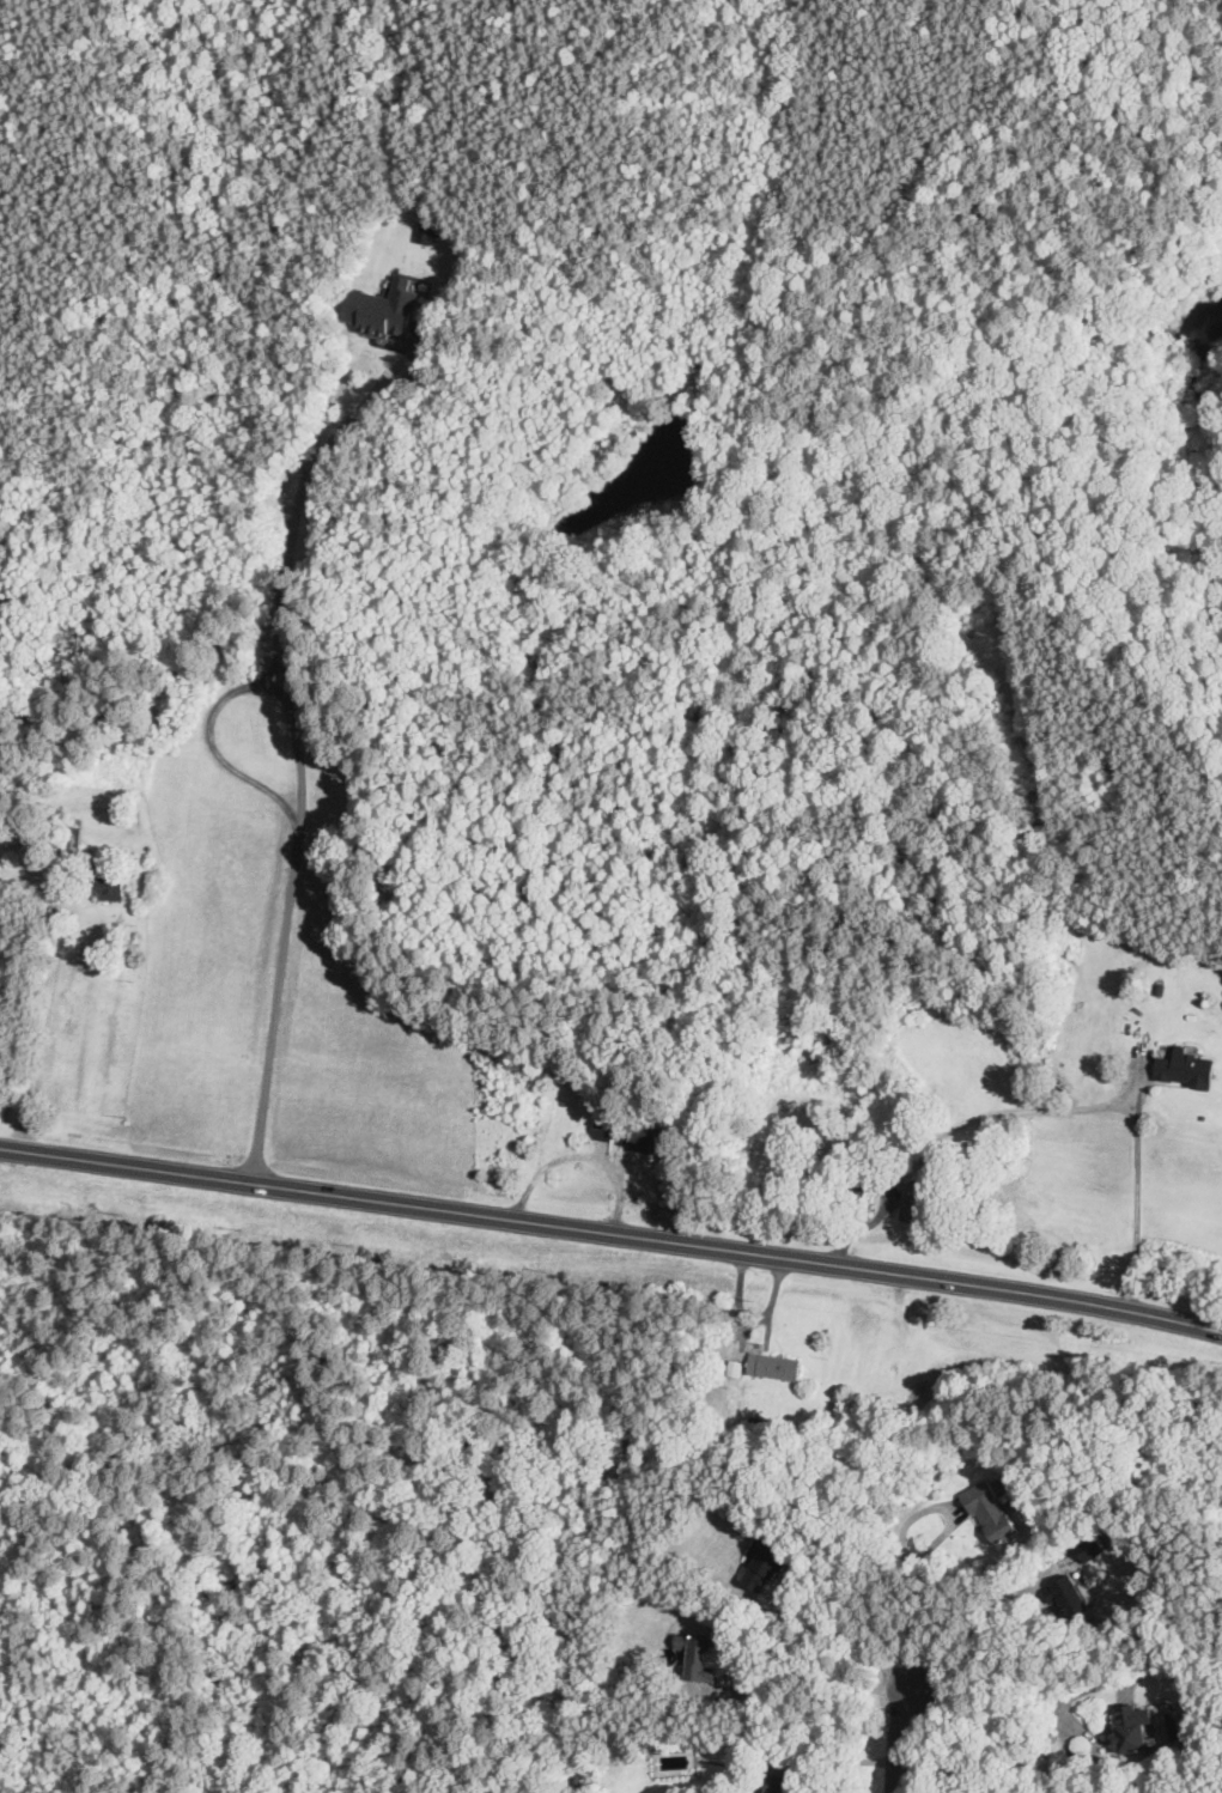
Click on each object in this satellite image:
park: (991, 165)
road: (427, 298)
road: (1072, 306)
building: (382, 309)
road: (389, 346)
road: (366, 399)
road: (217, 752)
road: (300, 826)
building: (69, 839)
building: (103, 881)
road: (45, 1021)
building: (1185, 1069)
road: (1165, 1082)
road: (952, 1129)
building: (631, 1135)
building: (882, 1145)
road: (601, 1149)
road: (613, 1149)
road: (583, 1156)
road: (1138, 1183)
road: (858, 1191)
building: (914, 1202)
road: (612, 1232)
road: (772, 1305)
road: (743, 1329)
road: (779, 1342)
road: (752, 1345)
road: (756, 1350)
building: (773, 1367)
building: (734, 1368)
building: (993, 1511)
building: (765, 1562)
road: (911, 1587)
building: (1068, 1594)
road: (840, 1629)
road: (987, 1633)
building: (700, 1655)
road: (809, 1671)
building: (1132, 1726)
road: (983, 1732)
road: (894, 1736)
road: (837, 1762)
building: (777, 1782)

